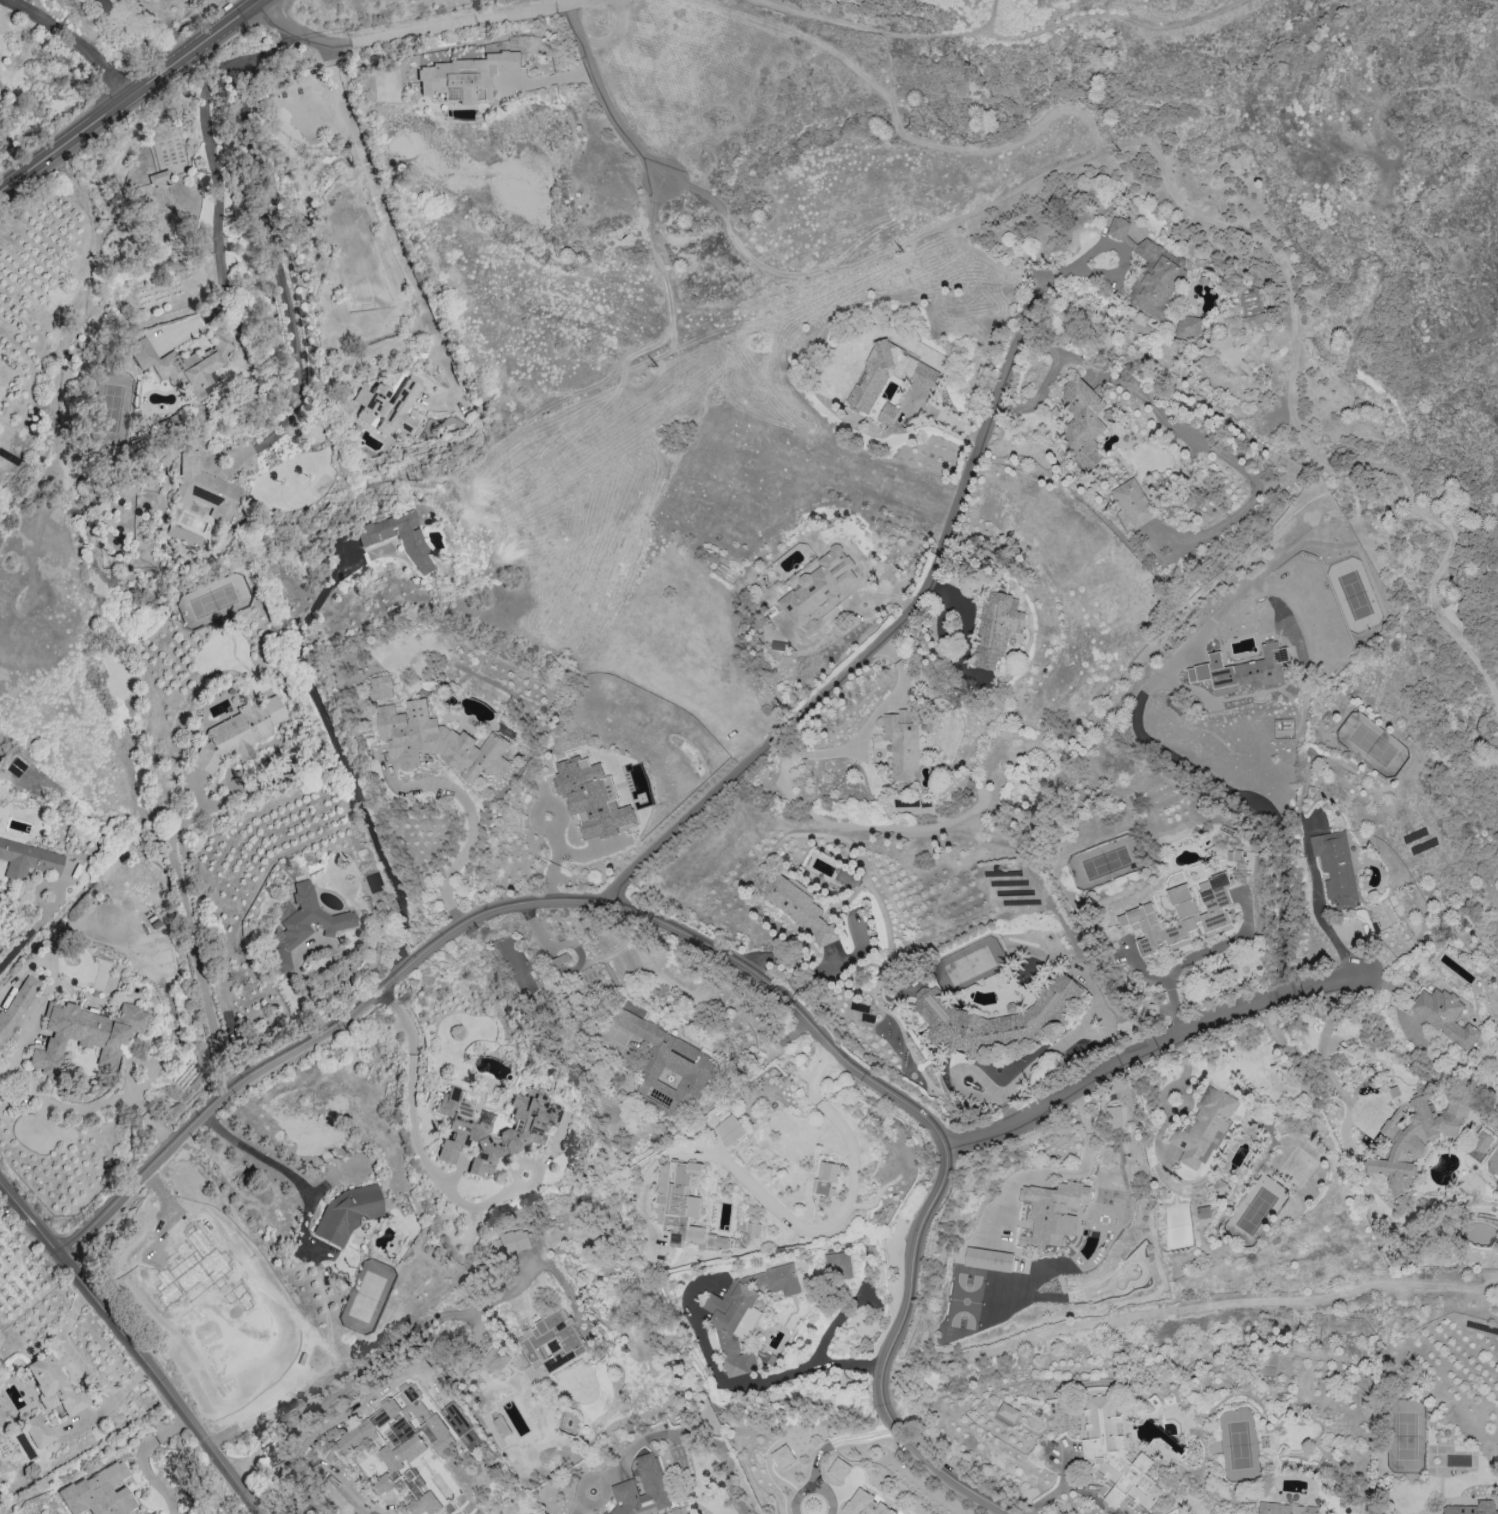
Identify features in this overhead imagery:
road: (267, 2)
road: (1114, 16)
road: (421, 33)
road: (890, 35)
road: (131, 37)
road: (72, 43)
road: (824, 47)
road: (551, 77)
building: (465, 78)
road: (130, 99)
road: (608, 100)
road: (211, 147)
road: (373, 188)
building: (1118, 228)
road: (877, 249)
road: (660, 265)
road: (278, 267)
road: (1046, 278)
building: (1156, 278)
road: (1292, 313)
building: (1189, 325)
building: (182, 367)
building: (917, 377)
road: (1040, 395)
building: (388, 406)
building: (887, 413)
building: (1084, 421)
road: (1198, 440)
building: (204, 490)
building: (1131, 504)
building: (175, 534)
building: (398, 538)
building: (819, 585)
building: (996, 628)
road: (869, 654)
building: (1242, 671)
building: (383, 687)
building: (238, 734)
building: (438, 741)
building: (902, 744)
road: (345, 766)
building: (592, 797)
road: (1252, 806)
road: (467, 847)
building: (28, 861)
building: (1336, 868)
building: (801, 908)
building: (1181, 915)
building: (302, 924)
road: (536, 928)
road: (1330, 930)
road: (29, 934)
road: (192, 939)
road: (697, 944)
road: (1196, 955)
building: (554, 963)
road: (1329, 991)
building: (15, 1008)
building: (1444, 1015)
building: (995, 1018)
road: (1325, 1028)
building: (86, 1035)
road: (1070, 1038)
road: (1148, 1047)
road: (1343, 1097)
road: (1006, 1107)
building: (1113, 1117)
building: (1203, 1127)
building: (730, 1130)
building: (519, 1134)
building: (1413, 1139)
road: (416, 1141)
building: (1481, 1142)
road: (258, 1156)
road: (1077, 1176)
building: (826, 1178)
building: (684, 1207)
building: (1052, 1212)
building: (1203, 1212)
building: (347, 1214)
road: (790, 1216)
building: (753, 1228)
building: (510, 1243)
building: (988, 1259)
building: (838, 1265)
building: (778, 1279)
road: (506, 1290)
road: (1188, 1310)
building: (734, 1324)
building: (551, 1344)
road: (133, 1346)
building: (495, 1360)
road: (82, 1368)
road: (767, 1379)
road: (353, 1383)
building: (53, 1386)
building: (1008, 1412)
building: (501, 1426)
building: (462, 1427)
building: (38, 1431)
building: (403, 1443)
road: (820, 1448)
building: (1116, 1455)
building: (782, 1456)
road: (143, 1458)
building: (839, 1469)
building: (653, 1481)
road: (1073, 1490)
building: (98, 1493)
building: (864, 1504)
building: (1474, 1508)
building: (156, 1513)

